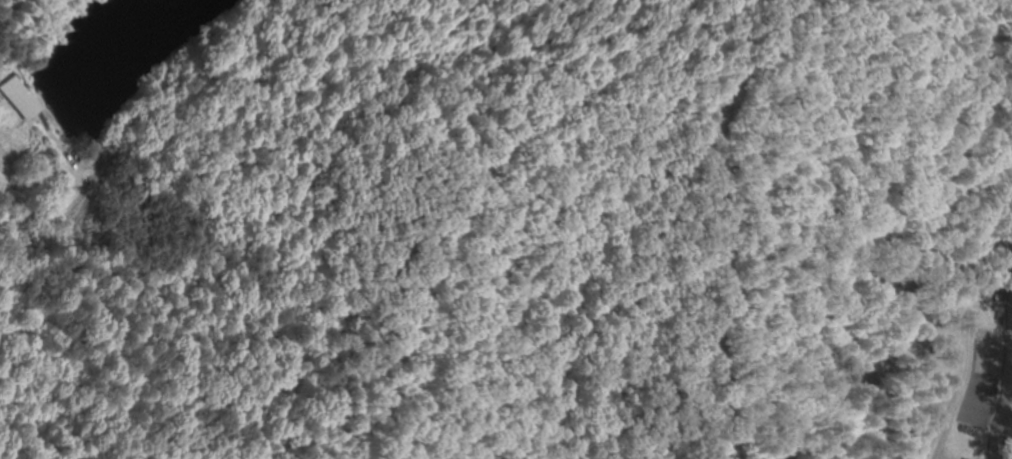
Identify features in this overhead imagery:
building: (17, 101)
road: (469, 400)

